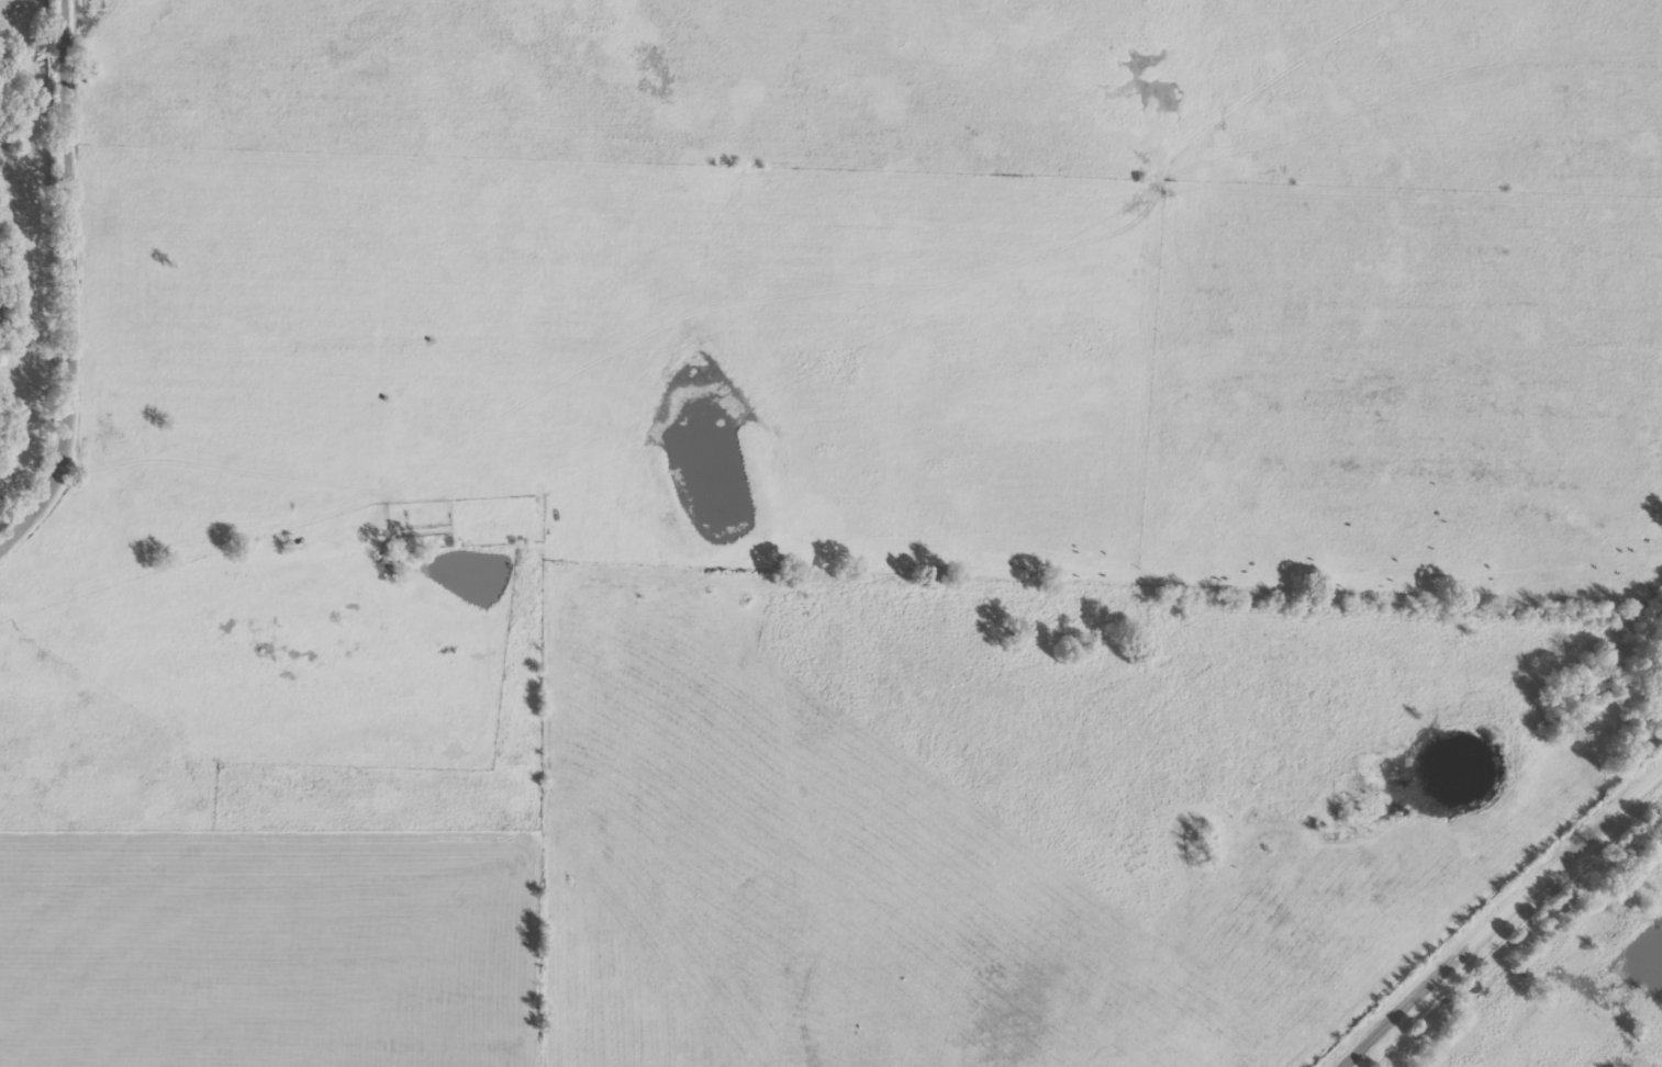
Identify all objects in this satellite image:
road: (34, 267)
road: (1502, 900)

